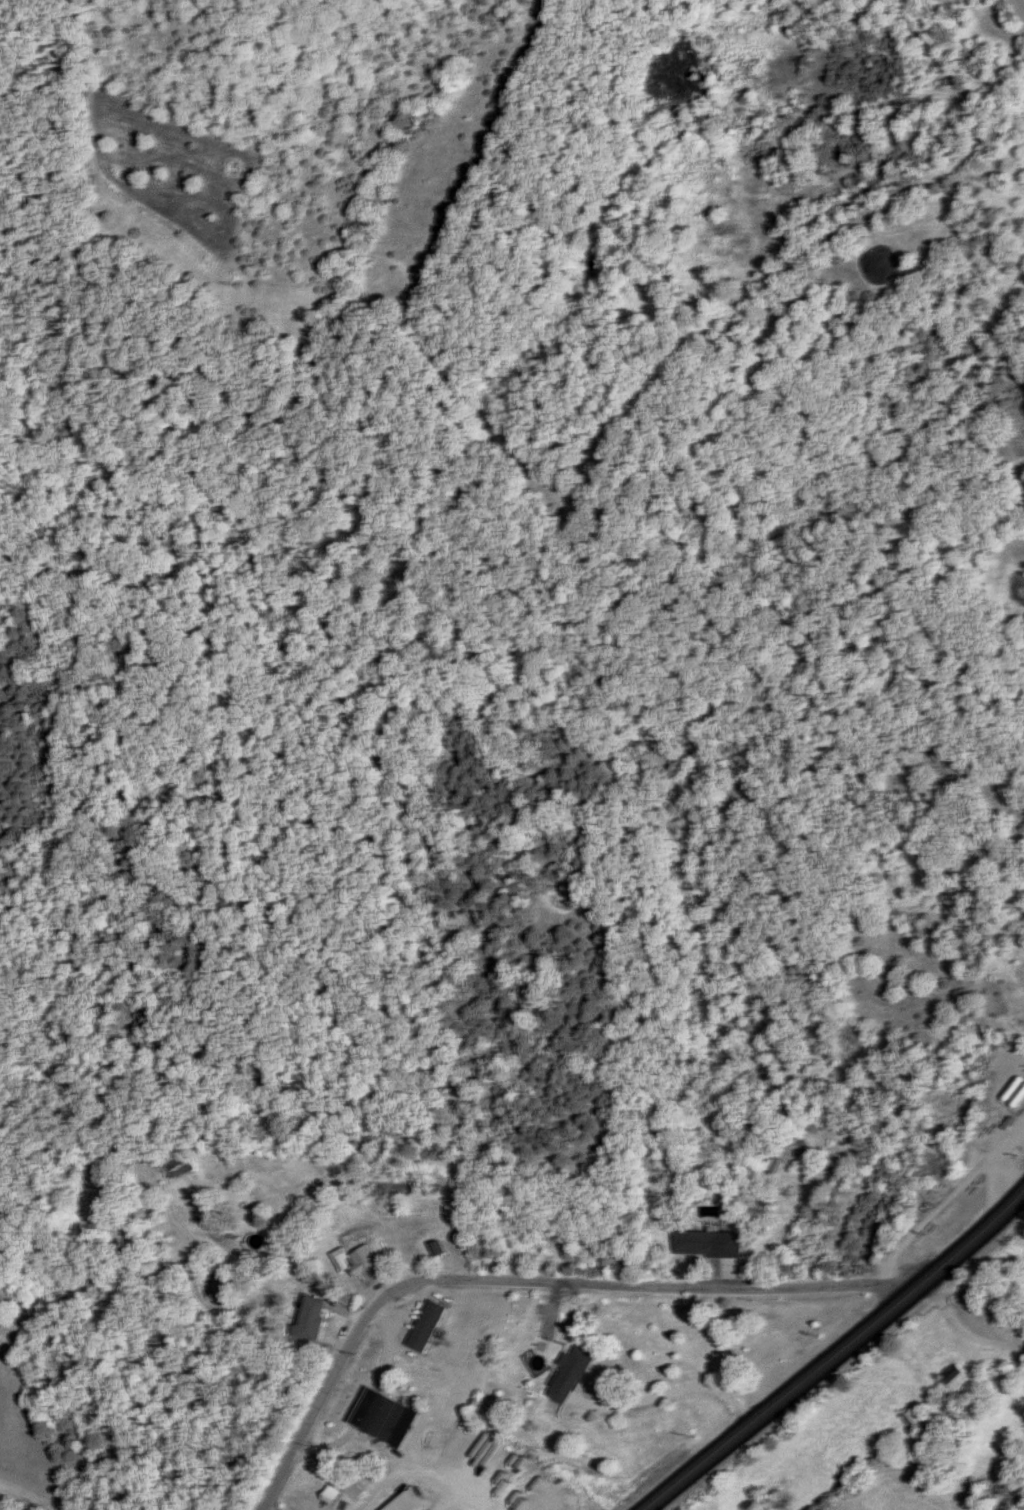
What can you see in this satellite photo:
road: (1023, 0)
building: (179, 1163)
building: (699, 1243)
building: (359, 1262)
road: (523, 1280)
building: (312, 1319)
building: (427, 1326)
road: (962, 1326)
road: (833, 1352)
building: (571, 1374)
building: (958, 1379)
building: (383, 1415)
building: (911, 1418)
road: (425, 1477)
building: (407, 1503)

